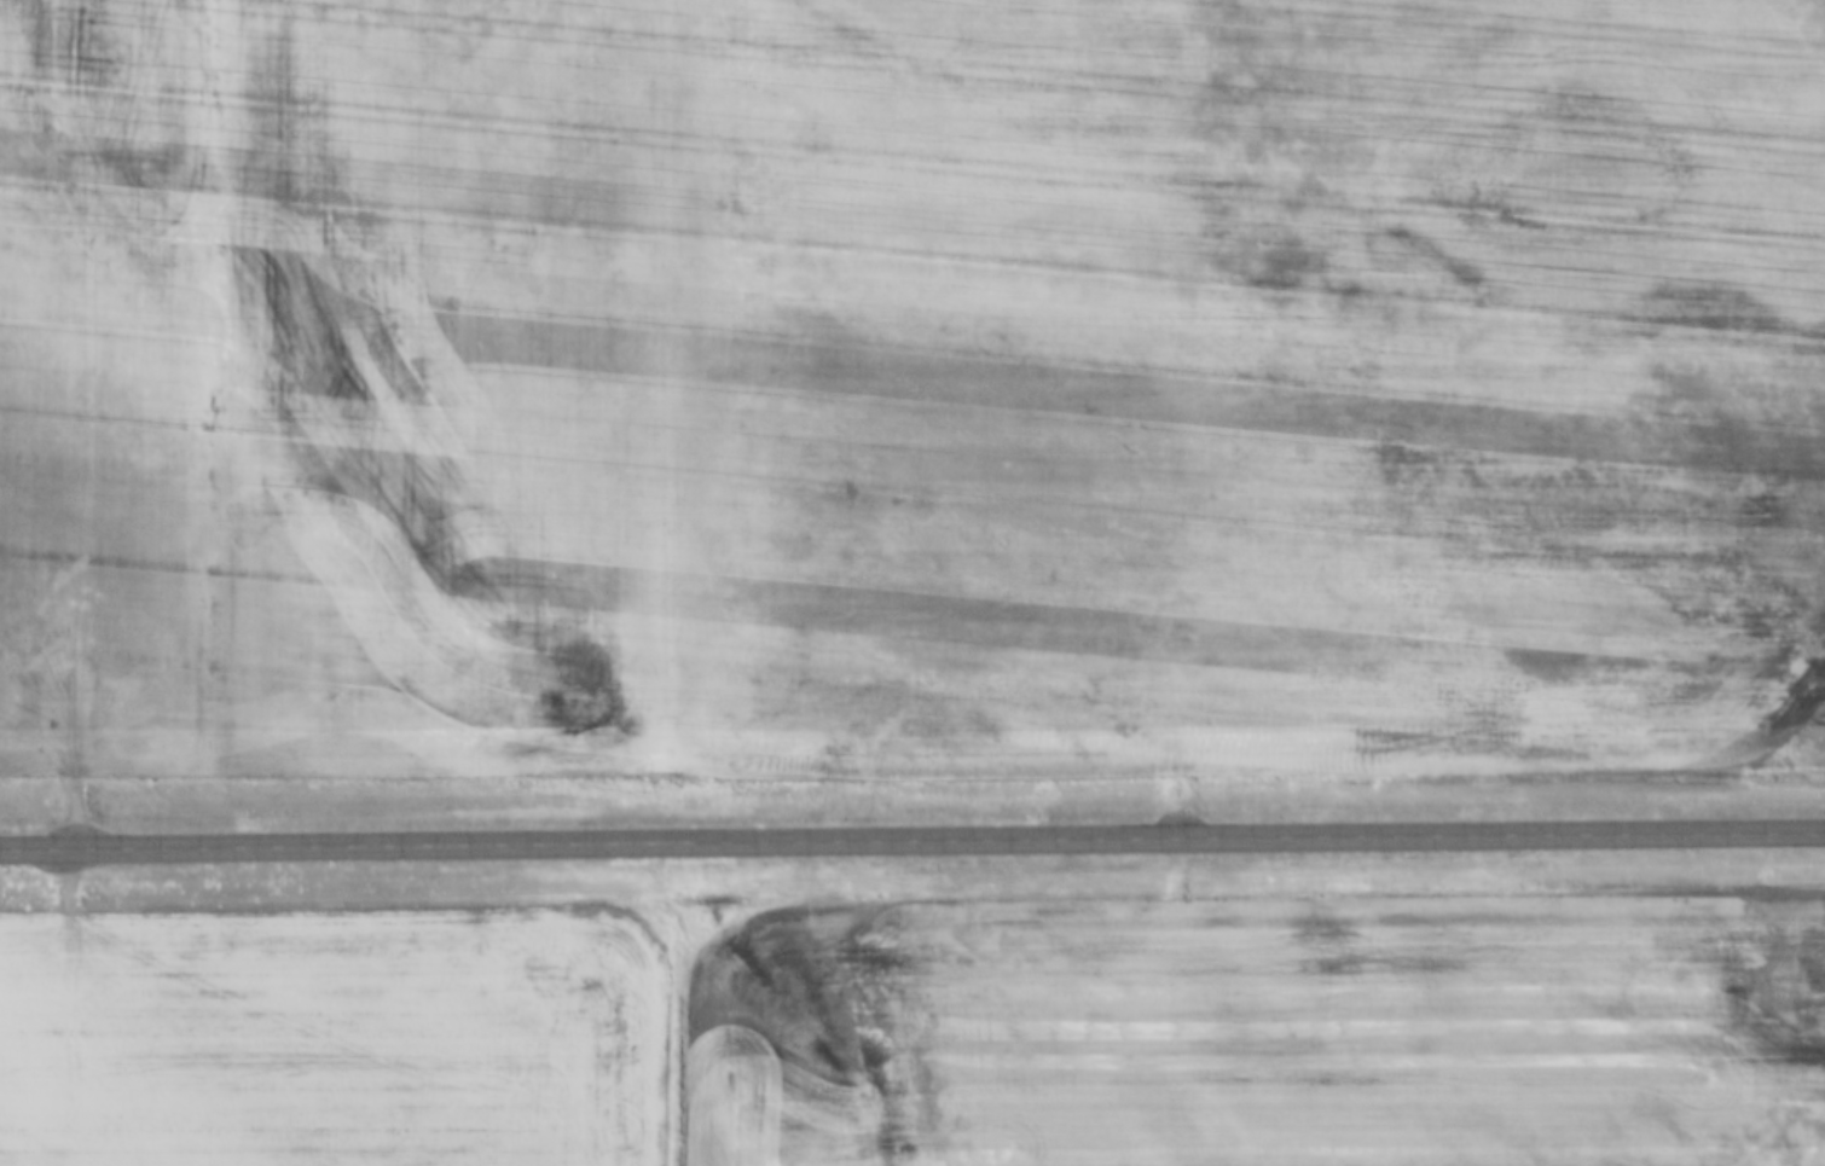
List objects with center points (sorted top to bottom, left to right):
road: (911, 834)

